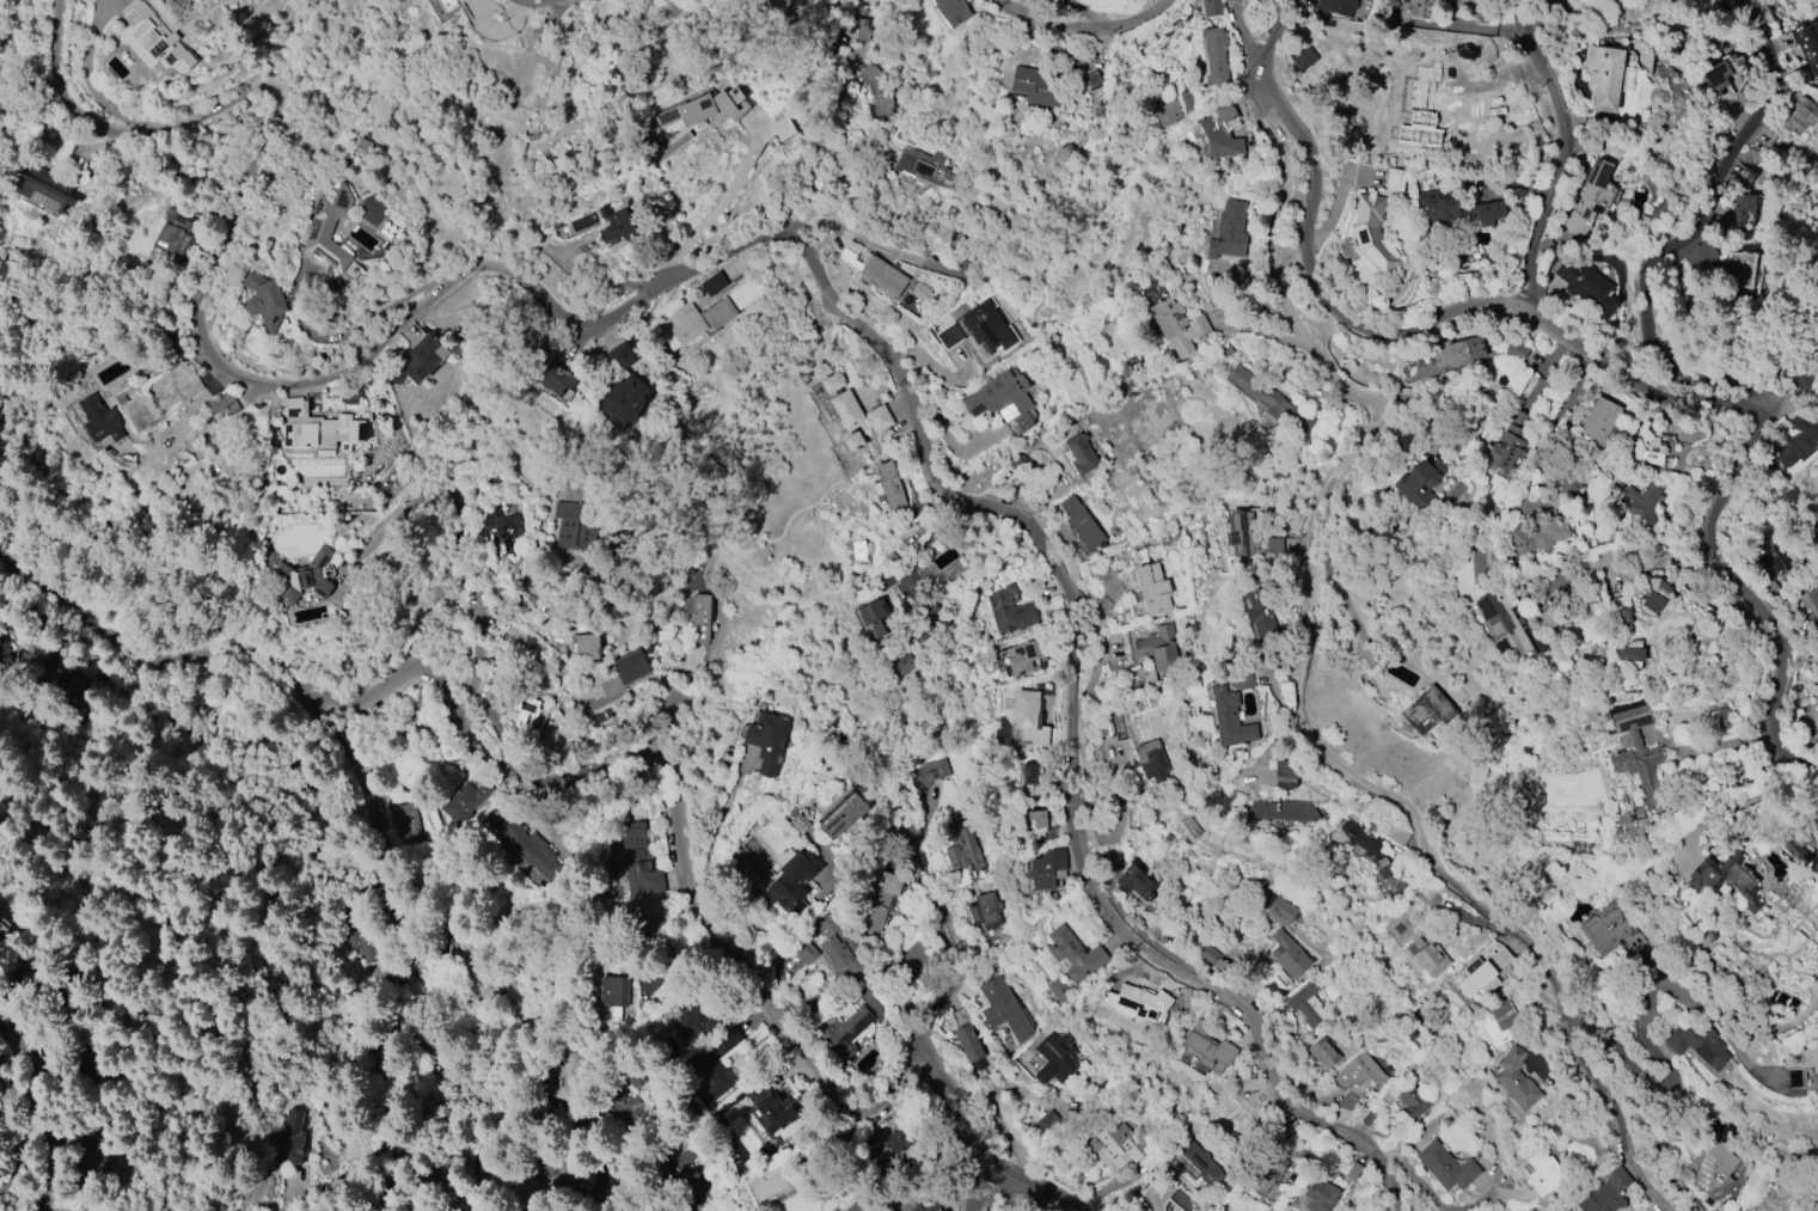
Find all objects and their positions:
road: (561, 2)
building: (1459, 4)
road: (1033, 5)
building: (1336, 6)
building: (1211, 7)
building: (1418, 7)
building: (951, 11)
building: (477, 20)
road: (1089, 25)
road: (1479, 27)
building: (859, 30)
road: (1253, 38)
building: (153, 41)
building: (1807, 47)
building: (1213, 54)
building: (1336, 66)
building: (1604, 75)
building: (1720, 75)
building: (1089, 78)
building: (1036, 85)
building: (876, 87)
building: (1186, 99)
building: (706, 108)
building: (1167, 112)
building: (1798, 115)
building: (486, 116)
building: (1416, 124)
road: (1555, 154)
building: (925, 166)
building: (1394, 179)
building: (41, 186)
building: (1592, 192)
road: (720, 203)
building: (1453, 210)
building: (1742, 213)
building: (617, 226)
building: (328, 230)
building: (1228, 232)
building: (1371, 233)
building: (173, 238)
road: (1687, 238)
road: (795, 243)
road: (874, 244)
building: (1721, 265)
building: (875, 269)
building: (1586, 287)
building: (745, 293)
building: (1152, 295)
building: (263, 301)
building: (697, 319)
road: (369, 323)
building: (1177, 325)
building: (978, 331)
road: (1566, 341)
building: (547, 344)
building: (1514, 350)
building: (622, 355)
building: (1443, 357)
building: (416, 361)
building: (1806, 367)
building: (556, 379)
building: (998, 397)
building: (1268, 398)
building: (623, 400)
building: (220, 402)
road: (590, 406)
building: (849, 410)
road: (1676, 417)
building: (99, 418)
road: (186, 421)
building: (1598, 421)
building: (318, 427)
building: (1799, 440)
building: (1507, 441)
building: (1646, 446)
building: (1081, 453)
building: (1419, 482)
building: (1568, 483)
building: (889, 487)
building: (1633, 502)
building: (1081, 524)
building: (576, 525)
building: (1241, 532)
building: (1538, 532)
building: (508, 533)
building: (861, 551)
road: (1667, 557)
building: (1767, 557)
building: (299, 575)
building: (1152, 588)
building: (1655, 595)
building: (1808, 601)
building: (1009, 611)
building: (698, 616)
building: (1261, 616)
building: (876, 618)
building: (1622, 618)
building: (1510, 622)
building: (587, 644)
building: (1159, 647)
building: (1027, 656)
building: (1628, 658)
road: (478, 665)
building: (904, 666)
building: (625, 673)
road: (1300, 686)
road: (148, 698)
road: (668, 703)
building: (1427, 710)
building: (524, 714)
building: (602, 715)
building: (1028, 717)
building: (1229, 717)
building: (1719, 718)
building: (767, 740)
building: (1151, 760)
building: (1636, 769)
building: (1285, 771)
building: (930, 772)
building: (1030, 773)
building: (463, 801)
road: (372, 805)
building: (1281, 809)
building: (843, 811)
building: (403, 820)
building: (1036, 820)
building: (1396, 834)
building: (1354, 836)
building: (1789, 844)
building: (961, 845)
building: (531, 849)
road: (863, 860)
building: (638, 862)
building: (1384, 867)
building: (1047, 869)
building: (1725, 877)
building: (790, 880)
building: (1134, 880)
road: (705, 898)
building: (877, 901)
building: (1279, 909)
building: (985, 911)
building: (356, 931)
building: (1611, 931)
building: (839, 949)
building: (804, 953)
building: (1073, 954)
building: (1286, 954)
building: (1427, 956)
road: (956, 958)
building: (1500, 958)
building: (470, 962)
building: (1476, 977)
building: (1125, 986)
building: (613, 991)
building: (1058, 991)
building: (1306, 1002)
building: (1004, 1009)
building: (693, 1019)
building: (1498, 1022)
building: (851, 1027)
road: (1642, 1030)
building: (967, 1042)
building: (1207, 1047)
building: (1698, 1047)
building: (1323, 1052)
building: (75, 1057)
building: (1054, 1057)
building: (1811, 1059)
building: (381, 1063)
building: (714, 1064)
building: (1358, 1074)
building: (1516, 1076)
building: (1794, 1077)
building: (1412, 1101)
building: (628, 1109)
road: (26, 1111)
building: (775, 1113)
building: (1367, 1118)
building: (1230, 1121)
building: (1047, 1123)
building: (1278, 1131)
building: (289, 1138)
building: (1112, 1142)
building: (899, 1144)
building: (92, 1148)
building: (1194, 1163)
road: (16, 1166)
building: (1445, 1167)
building: (1267, 1168)
building: (1714, 1169)
building: (1352, 1170)
building: (1542, 1172)
building: (678, 1178)
road: (987, 1185)
building: (1606, 1193)
building: (1320, 1195)
building: (928, 1209)
building: (911, 1210)

